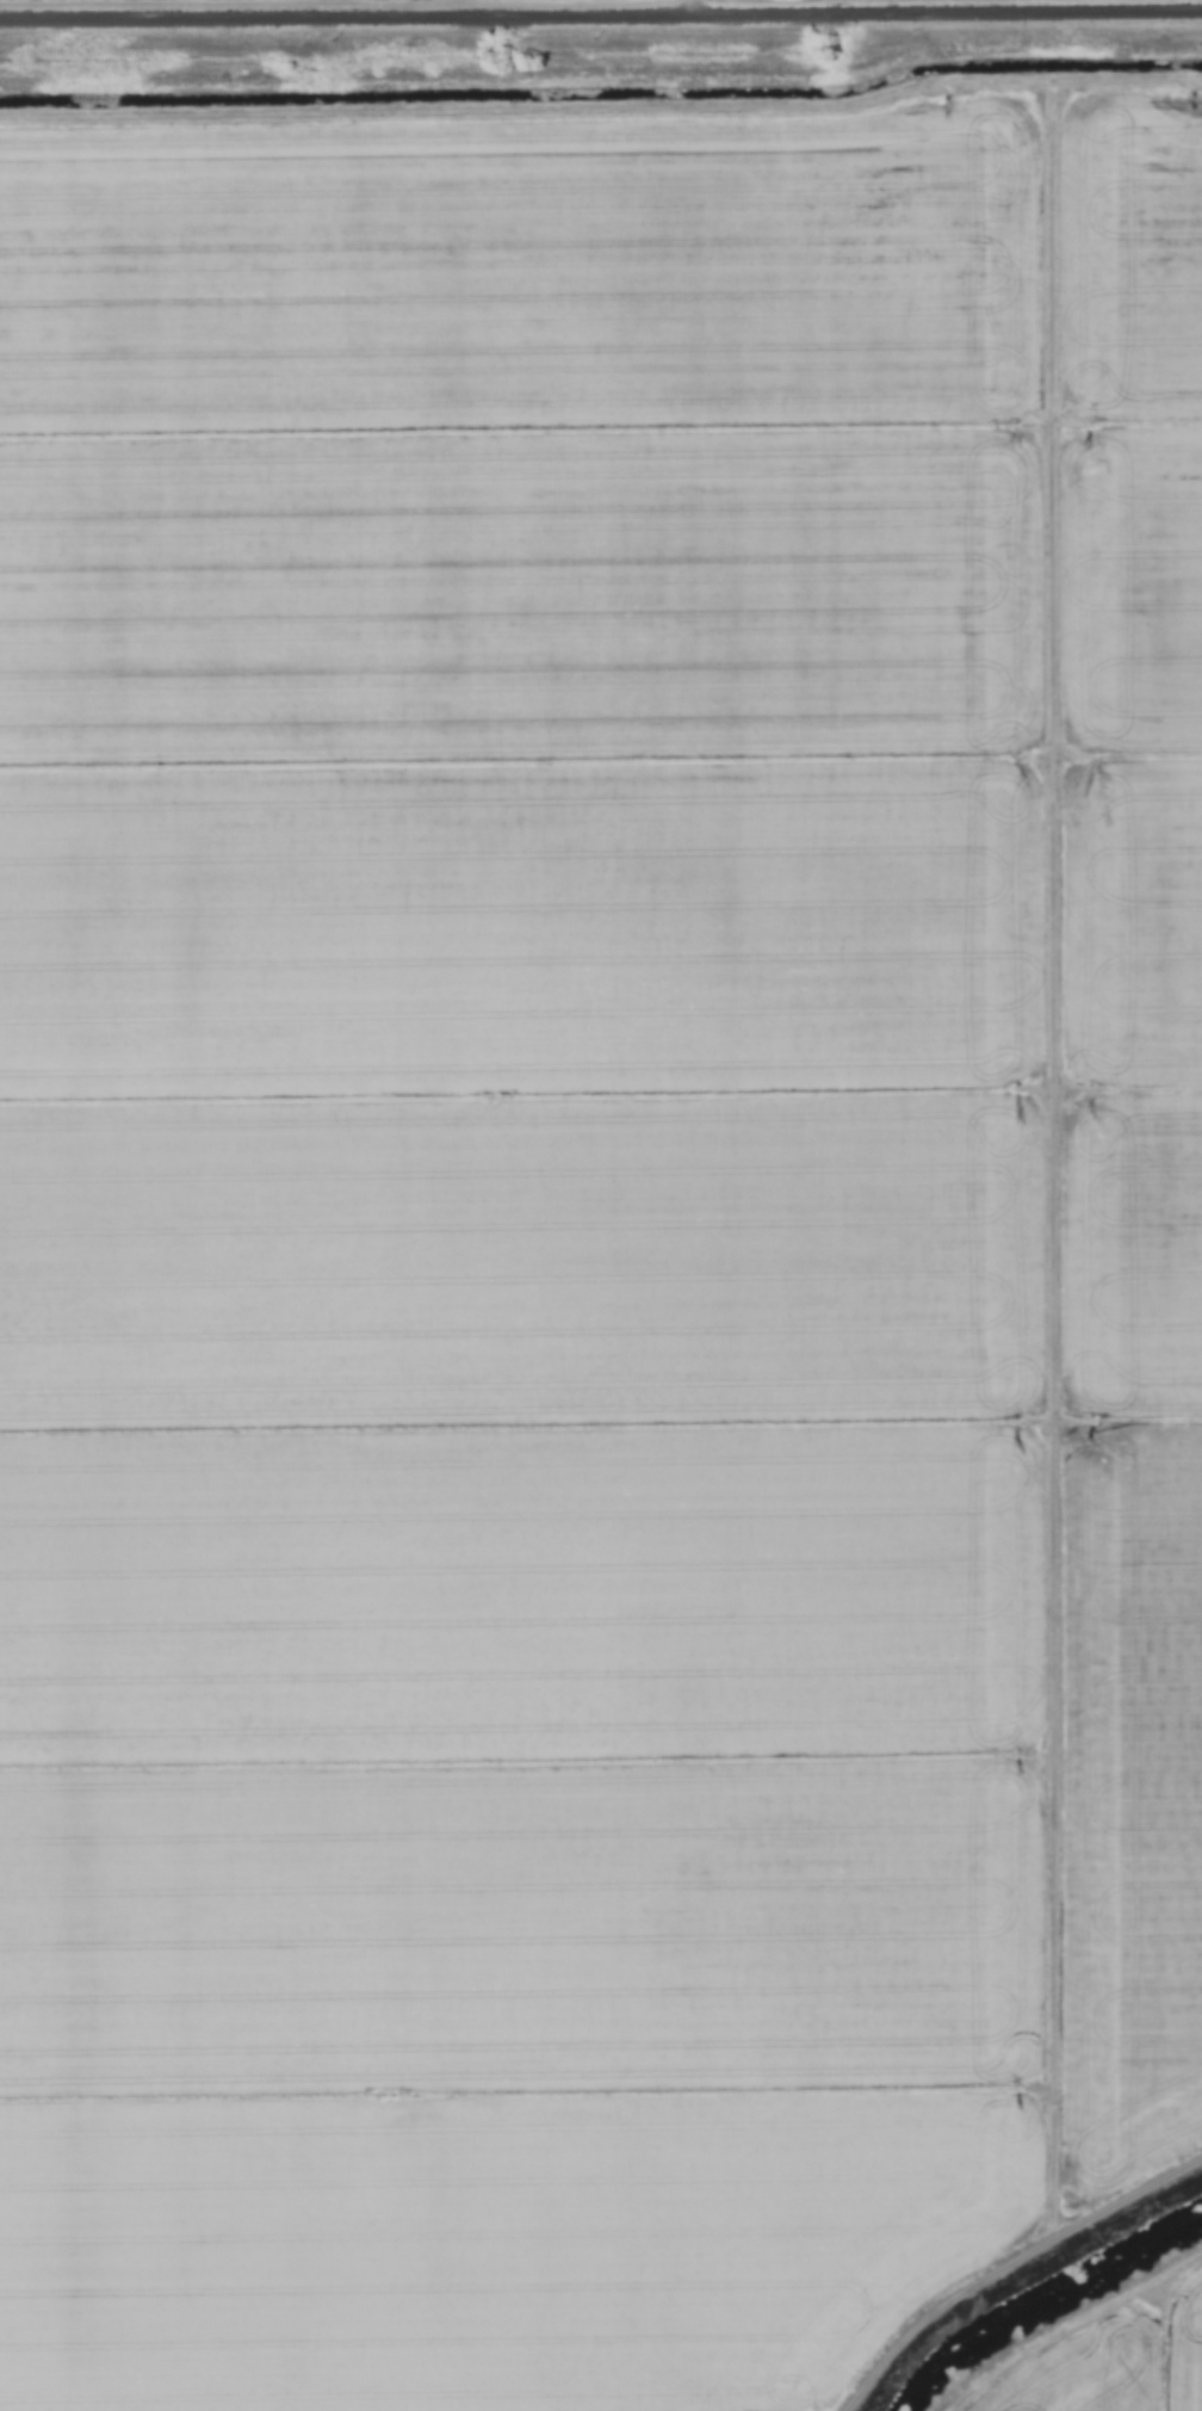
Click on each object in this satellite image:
road: (601, 23)

